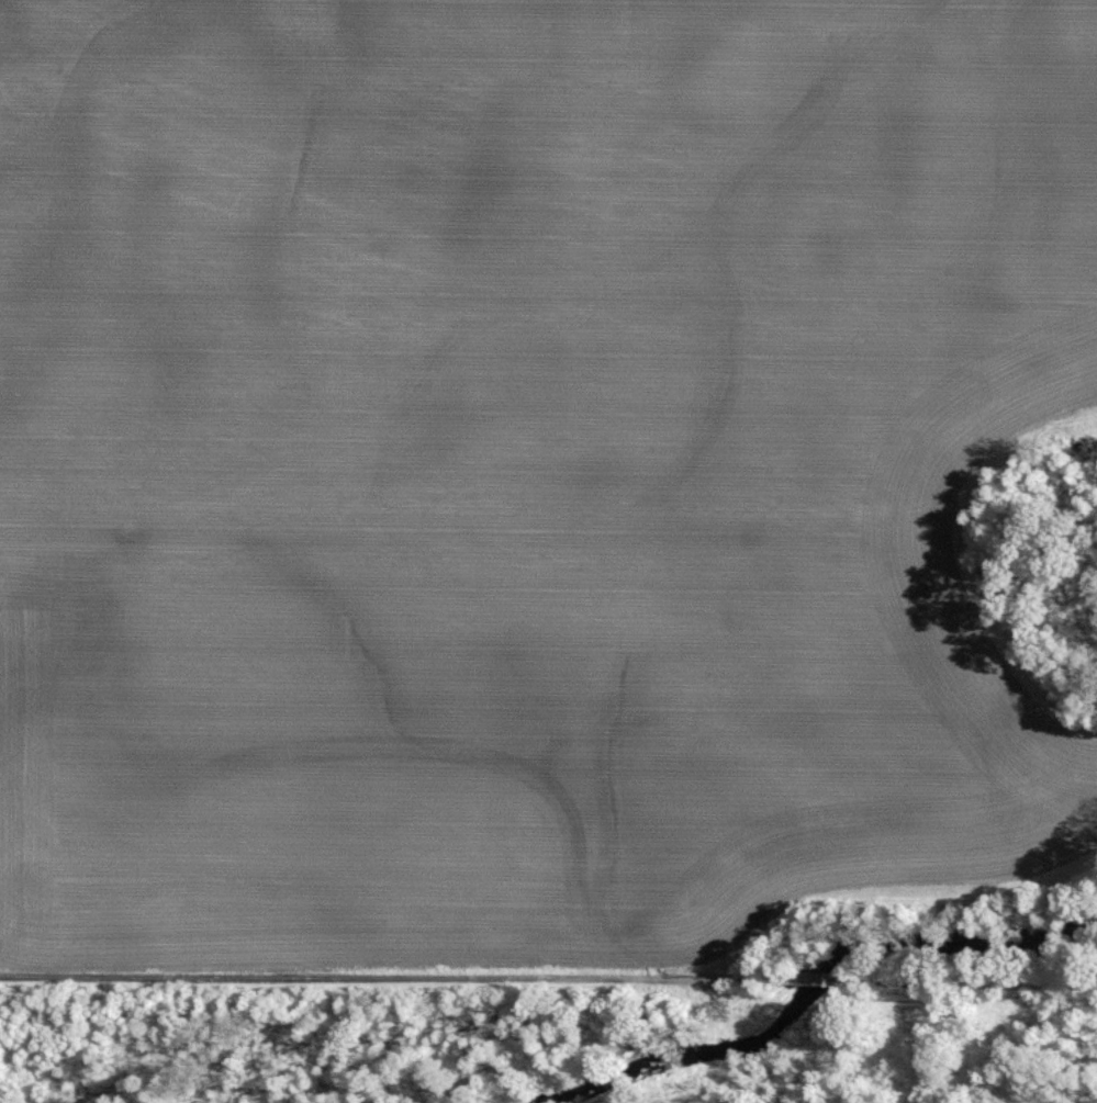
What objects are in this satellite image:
road: (548, 977)

